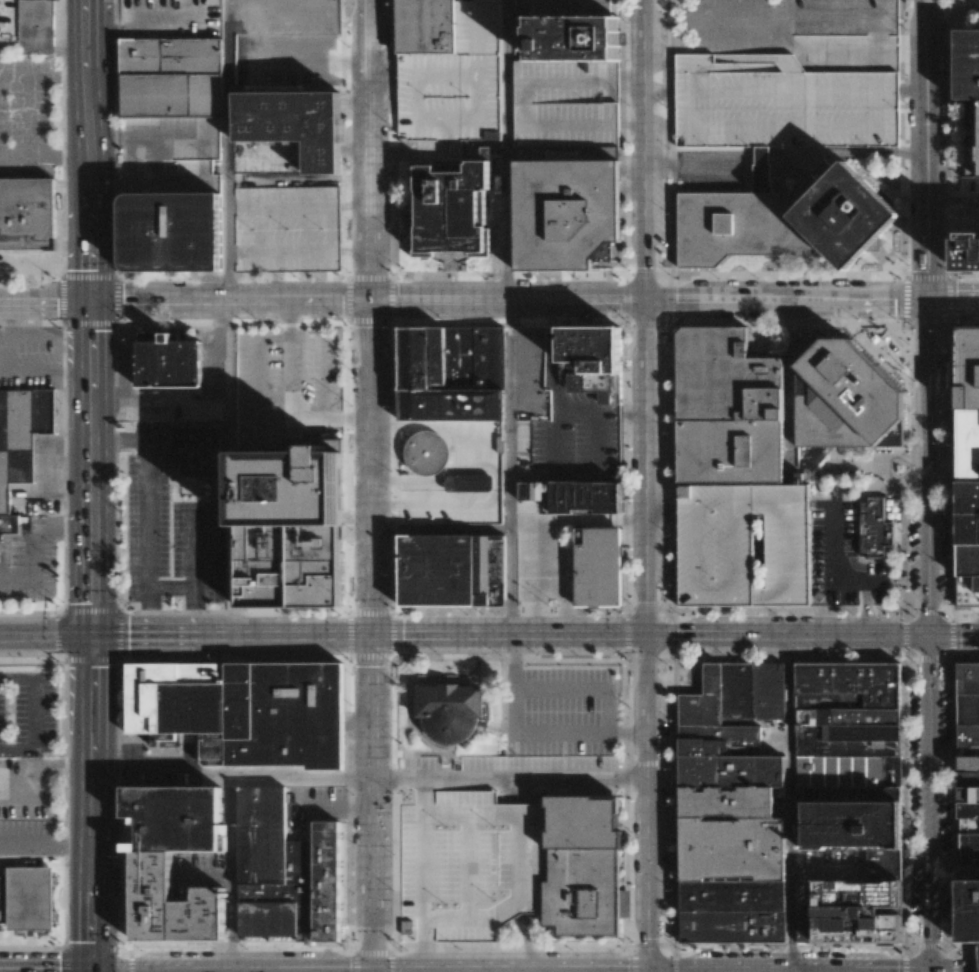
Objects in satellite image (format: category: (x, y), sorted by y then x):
road: (785, 8)
parking lot: (171, 18)
building: (429, 25)
building: (36, 26)
building: (573, 31)
road: (877, 49)
parking lot: (291, 61)
building: (967, 68)
parking lot: (786, 73)
building: (172, 78)
building: (457, 80)
parking lot: (457, 80)
building: (567, 103)
parking lot: (567, 103)
road: (29, 105)
building: (255, 111)
parking lot: (25, 118)
building: (974, 138)
road: (928, 148)
road: (368, 150)
road: (510, 150)
road: (646, 150)
road: (91, 151)
road: (229, 151)
building: (286, 154)
parking lot: (170, 155)
road: (45, 157)
road: (788, 164)
road: (299, 180)
parking lot: (967, 199)
building: (566, 206)
building: (452, 212)
building: (28, 215)
building: (782, 219)
building: (286, 229)
parking lot: (286, 229)
building: (172, 235)
building: (967, 252)
flagpole: (868, 268)
road: (955, 297)
traffic signals: (931, 298)
road: (510, 300)
traffic signals: (648, 300)
traffic signals: (369, 301)
road: (45, 302)
traffic signals: (91, 303)
road: (552, 347)
road: (289, 350)
building: (594, 351)
parking lot: (30, 357)
building: (171, 362)
road: (319, 364)
road: (257, 374)
building: (453, 375)
parking lot: (285, 386)
road: (791, 389)
building: (848, 398)
building: (731, 411)
road: (510, 416)
road: (308, 420)
road: (117, 439)
building: (21, 443)
road: (459, 452)
building: (428, 454)
building: (197, 464)
flagpole: (402, 464)
road: (648, 467)
building: (965, 467)
road: (91, 468)
road: (231, 468)
road: (370, 468)
fountain: (897, 468)
road: (479, 472)
road: (587, 476)
building: (475, 485)
building: (292, 486)
building: (588, 500)
road: (425, 511)
building: (876, 528)
road: (440, 531)
road: (34, 535)
parking lot: (164, 535)
road: (145, 537)
building: (746, 546)
parking lot: (746, 546)
parking lot: (843, 556)
parking lot: (28, 560)
parking lot: (541, 563)
building: (288, 567)
building: (597, 569)
road: (833, 569)
building: (450, 573)
road: (193, 574)
road: (538, 580)
road: (27, 581)
road: (511, 583)
road: (170, 587)
road: (565, 600)
flagpole: (550, 603)
road: (866, 609)
street lamp: (978, 615)
road: (45, 634)
traffic signals: (91, 634)
road: (934, 634)
traffic signals: (935, 634)
road: (957, 634)
road: (230, 635)
traffic signals: (371, 635)
road: (509, 635)
road: (792, 635)
traffic signals: (649, 636)
flagpole: (479, 676)
road: (556, 686)
road: (601, 686)
road: (512, 687)
building: (734, 701)
building: (453, 709)
parking lot: (564, 710)
building: (245, 711)
road: (30, 713)
parking lot: (27, 714)
building: (851, 729)
road: (581, 737)
parking lot: (541, 763)
building: (968, 772)
road: (161, 778)
road: (302, 779)
road: (511, 780)
parking lot: (26, 788)
street lamp: (940, 788)
parking lot: (321, 798)
road: (91, 802)
road: (651, 802)
road: (792, 802)
road: (372, 803)
road: (469, 813)
building: (856, 822)
parking lot: (26, 837)
road: (45, 847)
building: (731, 849)
building: (179, 858)
building: (884, 860)
parking lot: (467, 862)
road: (465, 863)
building: (586, 866)
parking lot: (825, 867)
building: (286, 870)
road: (420, 874)
road: (233, 875)
building: (28, 898)
road: (510, 902)
building: (968, 908)
building: (865, 909)
building: (802, 923)
building: (406, 926)
road: (371, 970)
traffic signals: (373, 970)
traffic signals: (652, 970)
road: (791, 970)
road: (45, 971)
road: (91, 971)
traffic signals: (91, 971)
road: (195, 971)
road: (439, 971)
road: (652, 971)
road: (792, 971)
road: (930, 971)
traffic signals: (930, 971)
road: (954, 971)

